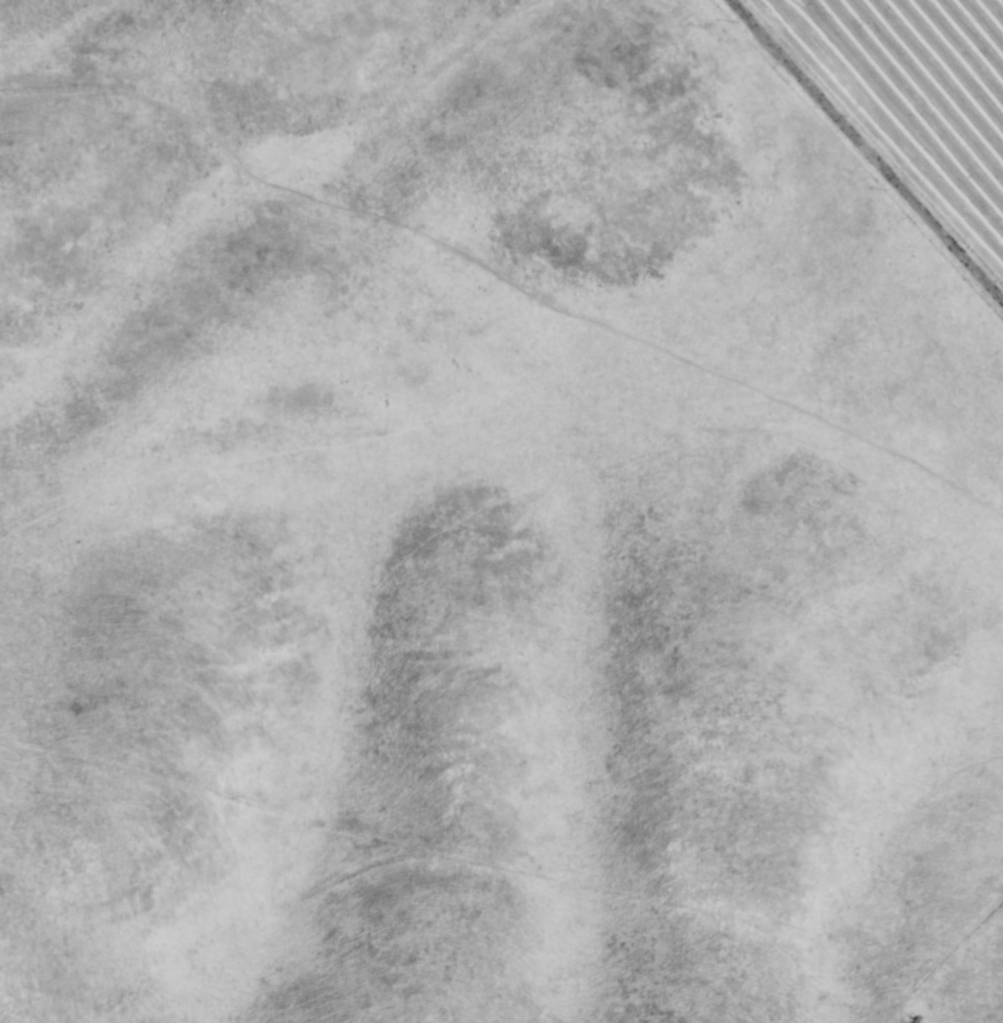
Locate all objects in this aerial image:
crop: (937, 81)
road: (860, 157)

